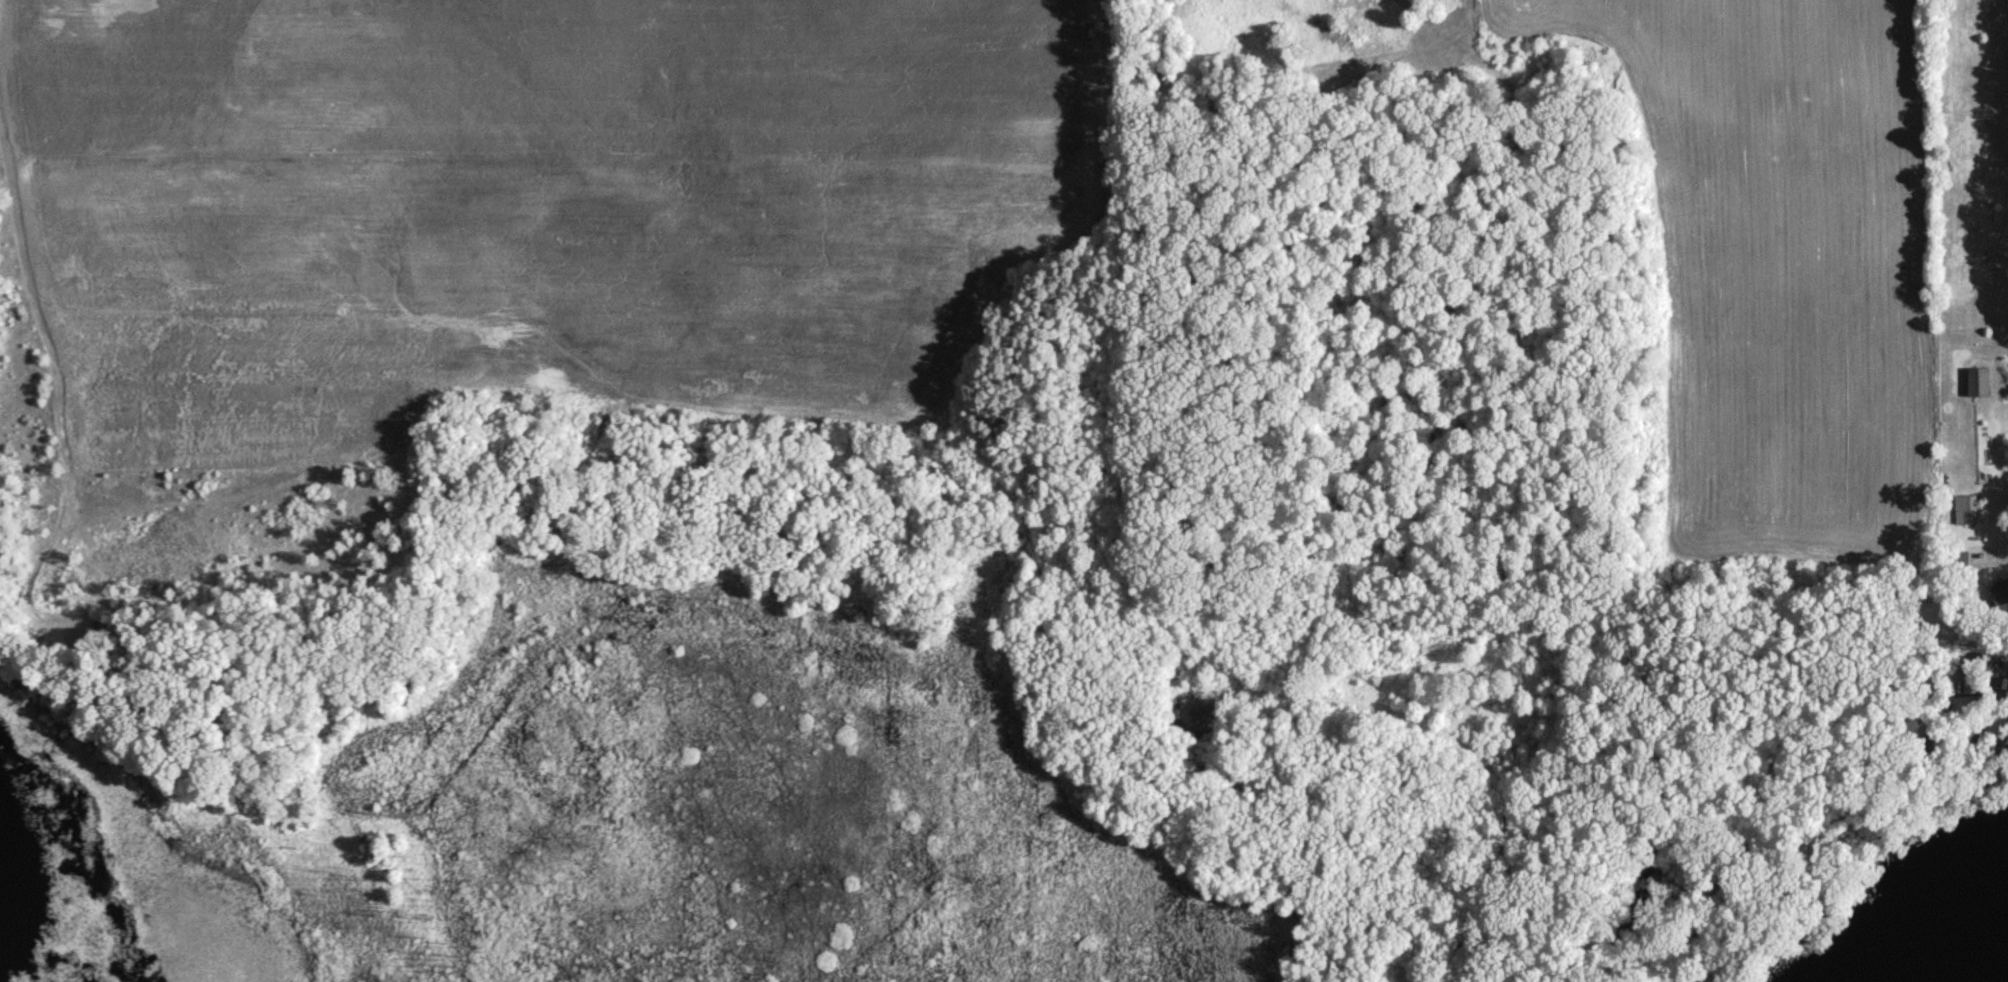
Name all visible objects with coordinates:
building: (1981, 386)
building: (1966, 513)
road: (1993, 551)
road: (1975, 654)

